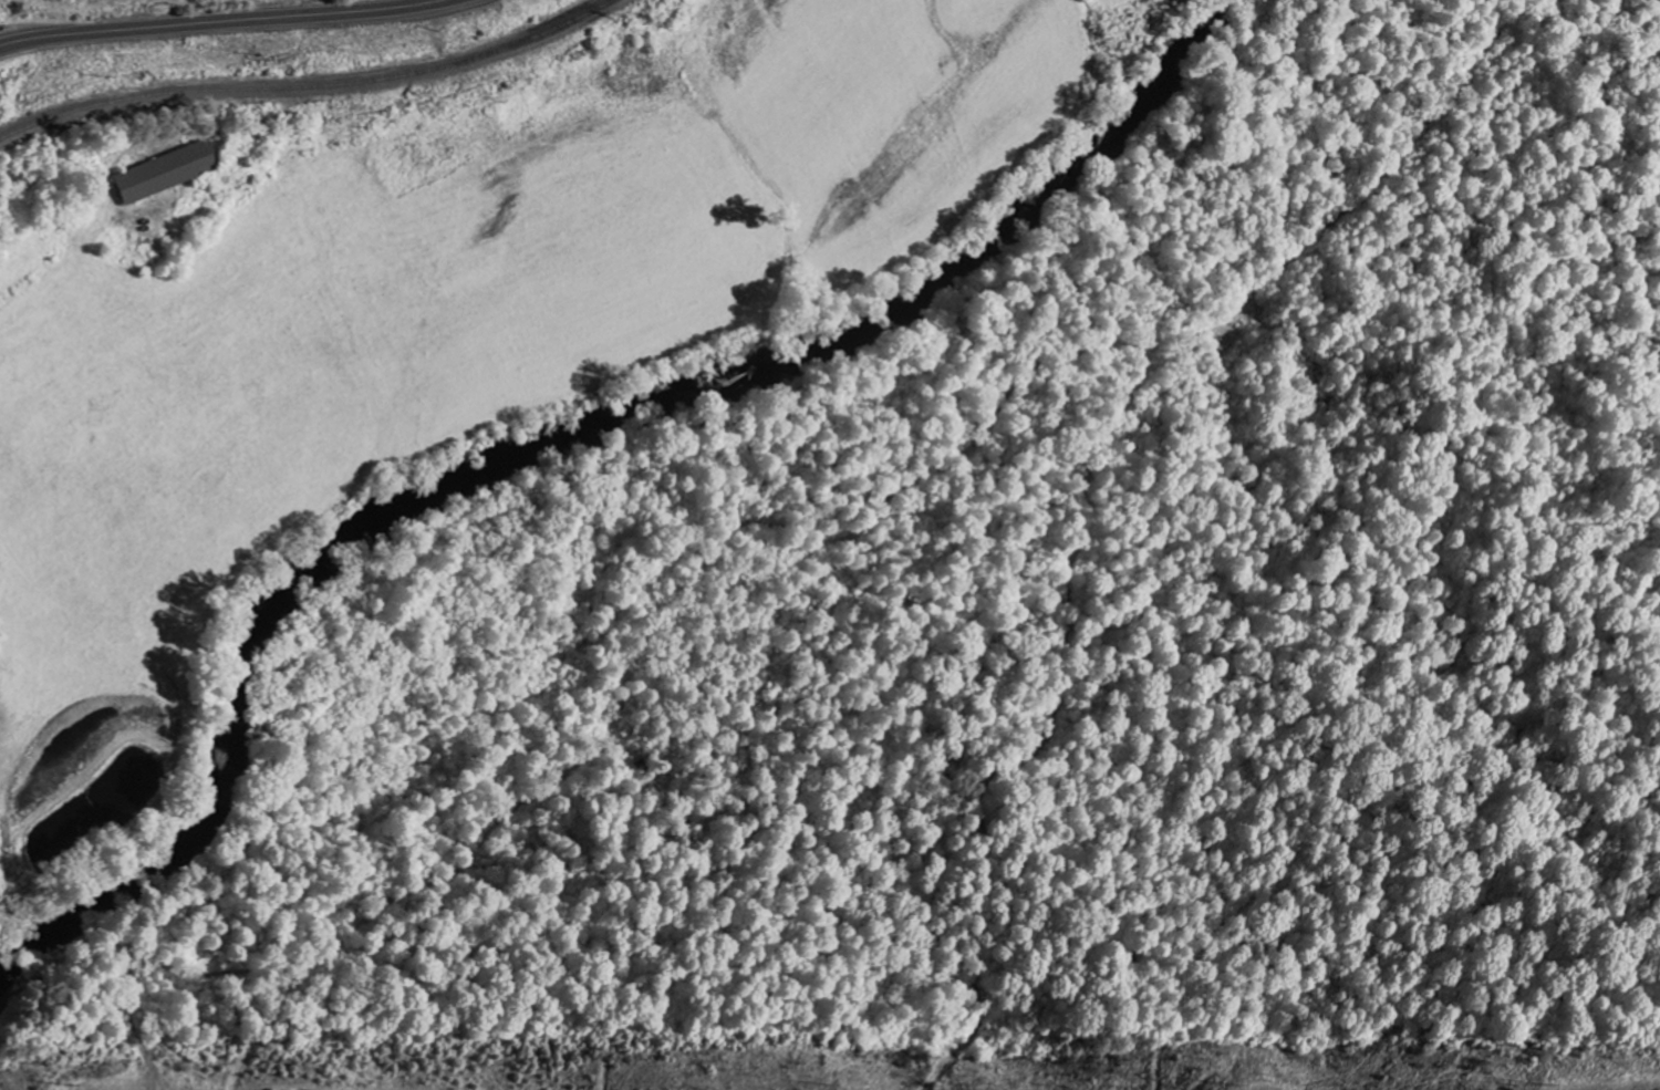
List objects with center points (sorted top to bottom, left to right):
road: (236, 27)
railway: (311, 85)
building: (165, 173)

